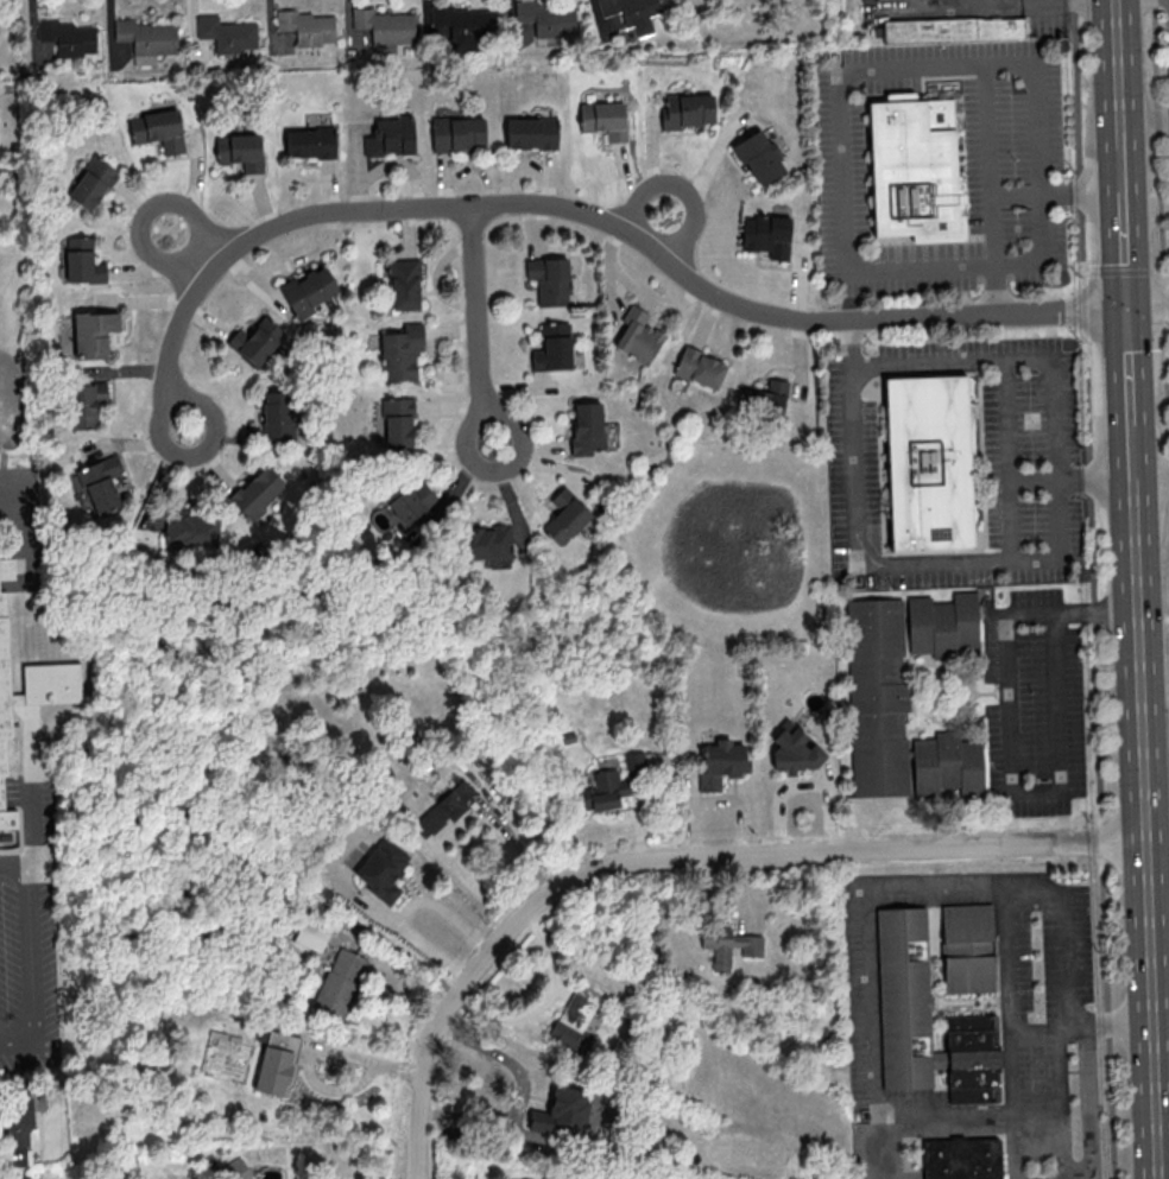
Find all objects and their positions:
building: (884, 0)
road: (1051, 0)
road: (1049, 1)
road: (971, 2)
road: (999, 4)
road: (915, 8)
building: (631, 12)
building: (546, 17)
building: (308, 26)
building: (466, 26)
building: (384, 27)
building: (955, 30)
building: (227, 33)
building: (69, 37)
building: (146, 39)
road: (1117, 66)
road: (874, 69)
building: (687, 109)
building: (604, 119)
building: (157, 129)
building: (457, 132)
building: (530, 132)
building: (390, 137)
building: (309, 141)
road: (1158, 144)
building: (239, 150)
building: (758, 156)
road: (1120, 163)
building: (916, 167)
road: (990, 167)
building: (91, 183)
road: (681, 185)
road: (1019, 195)
road: (550, 203)
road: (143, 207)
building: (766, 234)
road: (1041, 249)
road: (1125, 249)
building: (81, 260)
building: (548, 279)
building: (403, 284)
road: (998, 291)
building: (309, 292)
traffic signals: (1129, 306)
road: (1149, 306)
road: (1064, 309)
road: (475, 327)
building: (93, 332)
building: (637, 335)
building: (255, 341)
road: (851, 341)
building: (552, 347)
park: (5, 351)
building: (399, 351)
road: (1131, 362)
building: (699, 367)
road: (1167, 379)
road: (184, 394)
building: (763, 399)
building: (84, 402)
road: (1005, 407)
building: (277, 414)
building: (397, 421)
building: (586, 427)
road: (1133, 449)
building: (931, 462)
road: (1057, 462)
road: (1151, 478)
building: (97, 484)
building: (255, 492)
building: (407, 499)
road: (139, 509)
building: (564, 515)
building: (190, 528)
building: (487, 541)
road: (874, 564)
park: (479, 583)
road: (164, 585)
road: (1093, 589)
building: (944, 626)
building: (878, 697)
building: (24, 698)
road: (26, 718)
building: (794, 749)
road: (1005, 752)
building: (634, 761)
building: (720, 762)
building: (949, 766)
building: (602, 791)
road: (32, 793)
building: (443, 809)
road: (1146, 828)
road: (21, 832)
road: (682, 860)
building: (381, 869)
road: (955, 880)
building: (311, 933)
parking lot: (31, 936)
building: (728, 944)
building: (969, 950)
road: (31, 956)
road: (1009, 956)
building: (340, 982)
road: (1161, 1000)
building: (576, 1019)
building: (929, 1020)
building: (280, 1039)
road: (326, 1039)
road: (1073, 1069)
building: (272, 1070)
road: (1010, 1095)
road: (1088, 1102)
road: (1061, 1105)
building: (561, 1113)
building: (17, 1129)
road: (1037, 1134)
road: (1012, 1142)
road: (1163, 1145)
road: (874, 1154)
building: (963, 1158)
building: (234, 1168)
building: (20, 1178)

